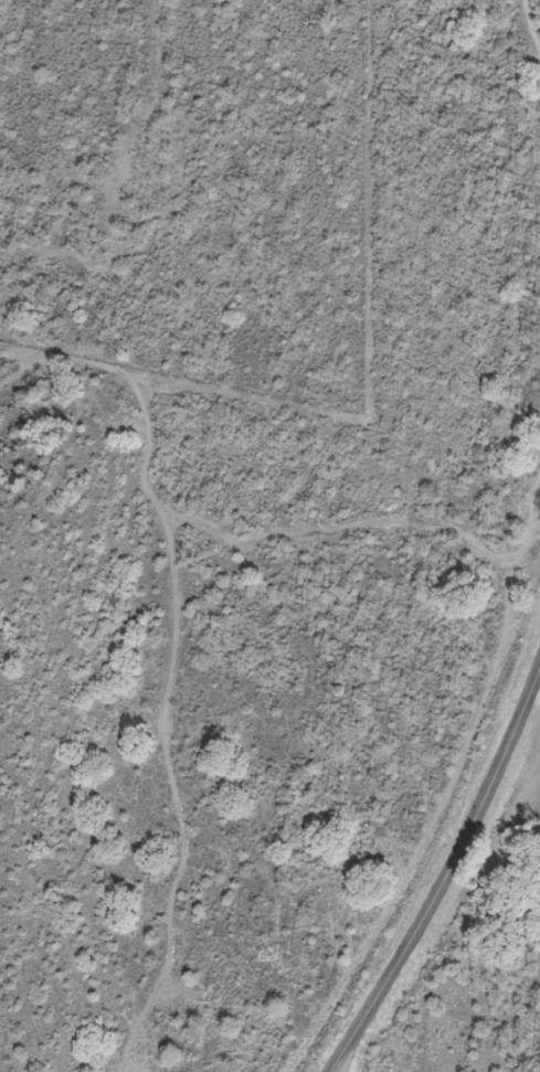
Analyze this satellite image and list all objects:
road: (534, 692)
road: (443, 872)

